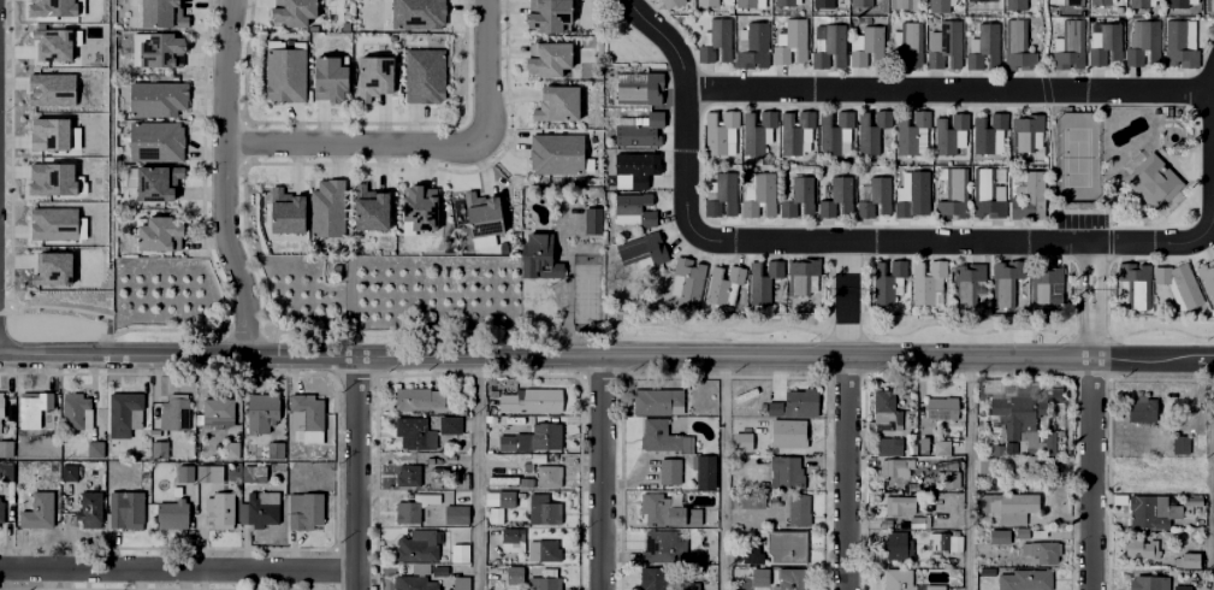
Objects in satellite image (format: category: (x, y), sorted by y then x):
building: (981, 0)
building: (1072, 0)
building: (1101, 0)
building: (707, 1)
building: (784, 1)
building: (1139, 1)
building: (1178, 1)
building: (673, 2)
building: (746, 2)
building: (823, 2)
building: (861, 2)
building: (904, 4)
building: (1015, 4)
building: (1210, 4)
building: (938, 5)
building: (48, 7)
building: (294, 12)
building: (161, 14)
building: (418, 16)
building: (549, 18)
building: (716, 40)
building: (792, 40)
building: (932, 41)
building: (1106, 42)
building: (1145, 42)
building: (51, 43)
building: (908, 43)
building: (1070, 43)
building: (1178, 43)
building: (754, 45)
building: (830, 45)
building: (870, 45)
building: (946, 45)
building: (1017, 45)
building: (985, 46)
building: (161, 52)
building: (549, 61)
road: (485, 67)
building: (285, 78)
building: (375, 78)
building: (424, 78)
building: (330, 79)
building: (639, 87)
building: (49, 89)
road: (949, 90)
building: (159, 98)
building: (556, 108)
building: (641, 129)
building: (871, 129)
building: (1025, 129)
building: (718, 130)
building: (756, 130)
building: (794, 130)
building: (833, 130)
building: (987, 130)
building: (913, 131)
building: (948, 131)
building: (47, 134)
building: (158, 141)
road: (355, 142)
building: (555, 155)
building: (634, 166)
building: (1151, 177)
building: (48, 178)
road: (224, 178)
building: (158, 182)
building: (985, 191)
building: (723, 193)
building: (759, 193)
building: (954, 193)
building: (799, 195)
building: (837, 195)
building: (876, 195)
building: (1029, 195)
building: (912, 200)
building: (636, 206)
building: (371, 210)
building: (326, 211)
building: (420, 211)
building: (285, 214)
building: (481, 218)
building: (591, 219)
building: (51, 223)
building: (160, 234)
road: (898, 242)
building: (642, 247)
building: (539, 254)
road: (848, 264)
road: (1091, 265)
building: (49, 267)
building: (337, 269)
building: (801, 273)
building: (1207, 277)
building: (764, 278)
building: (887, 278)
building: (689, 279)
building: (1005, 279)
building: (928, 281)
building: (1044, 281)
building: (723, 282)
building: (969, 282)
building: (1136, 283)
building: (1179, 283)
road: (348, 311)
road: (848, 321)
road: (1031, 356)
road: (424, 358)
building: (419, 396)
building: (533, 397)
building: (657, 399)
building: (796, 401)
building: (1, 402)
building: (73, 406)
building: (942, 406)
building: (35, 407)
building: (125, 407)
building: (1143, 407)
building: (218, 408)
building: (887, 408)
building: (174, 409)
building: (261, 409)
building: (307, 409)
building: (1056, 409)
building: (1019, 414)
building: (0, 415)
building: (450, 425)
building: (415, 432)
building: (771, 435)
building: (533, 437)
building: (664, 437)
road: (1094, 438)
building: (920, 443)
building: (1182, 443)
building: (889, 444)
building: (94, 446)
building: (230, 446)
building: (6, 447)
building: (159, 447)
building: (276, 448)
building: (938, 448)
building: (999, 448)
building: (1038, 461)
building: (527, 464)
building: (896, 465)
building: (6, 470)
building: (185, 470)
building: (706, 470)
building: (788, 470)
building: (254, 471)
building: (408, 472)
building: (66, 473)
road: (476, 473)
road: (603, 473)
road: (722, 473)
road: (847, 473)
road: (967, 473)
road: (1212, 473)
road: (356, 474)
building: (545, 476)
building: (670, 476)
building: (952, 478)
building: (214, 494)
building: (508, 498)
building: (752, 500)
building: (1189, 500)
building: (125, 506)
building: (1014, 506)
building: (261, 507)
building: (304, 507)
building: (546, 507)
building: (1, 508)
building: (39, 508)
building: (88, 508)
building: (800, 508)
building: (905, 508)
building: (1145, 508)
building: (408, 511)
building: (669, 511)
building: (172, 513)
building: (457, 513)
building: (1019, 532)
building: (996, 536)
building: (511, 537)
building: (940, 539)
building: (464, 542)
building: (418, 544)
building: (899, 544)
building: (677, 545)
building: (787, 545)
building: (1141, 545)
building: (549, 549)
building: (1043, 549)
building: (752, 553)
building: (462, 554)
building: (1188, 559)
building: (439, 570)
building: (984, 571)
road: (178, 572)
building: (515, 574)
building: (781, 577)
building: (653, 578)
building: (549, 579)
building: (902, 580)
building: (1024, 580)
building: (461, 582)
building: (415, 583)
building: (1150, 583)
building: (1183, 586)

